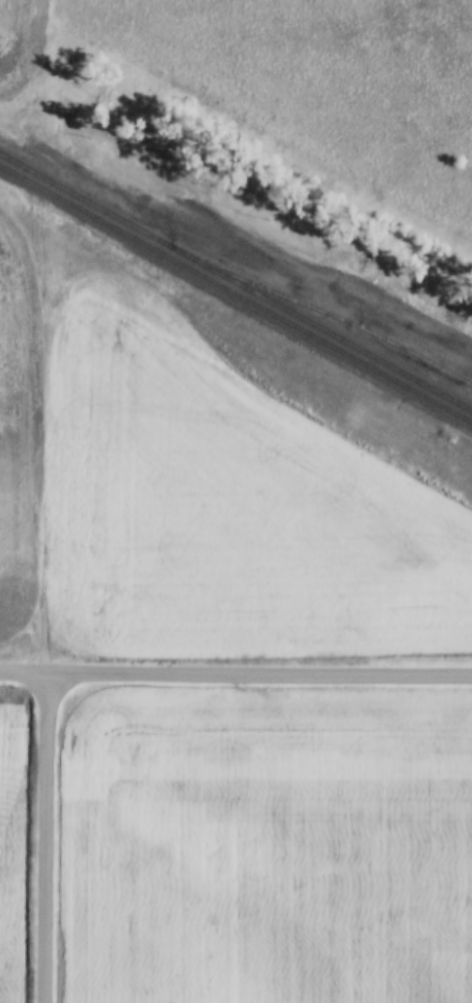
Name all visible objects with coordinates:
railway: (20, 166)
road: (251, 231)
railway: (256, 294)
railway: (236, 297)
railway: (329, 316)
road: (38, 332)
road: (257, 671)
road: (21, 672)
road: (42, 837)

